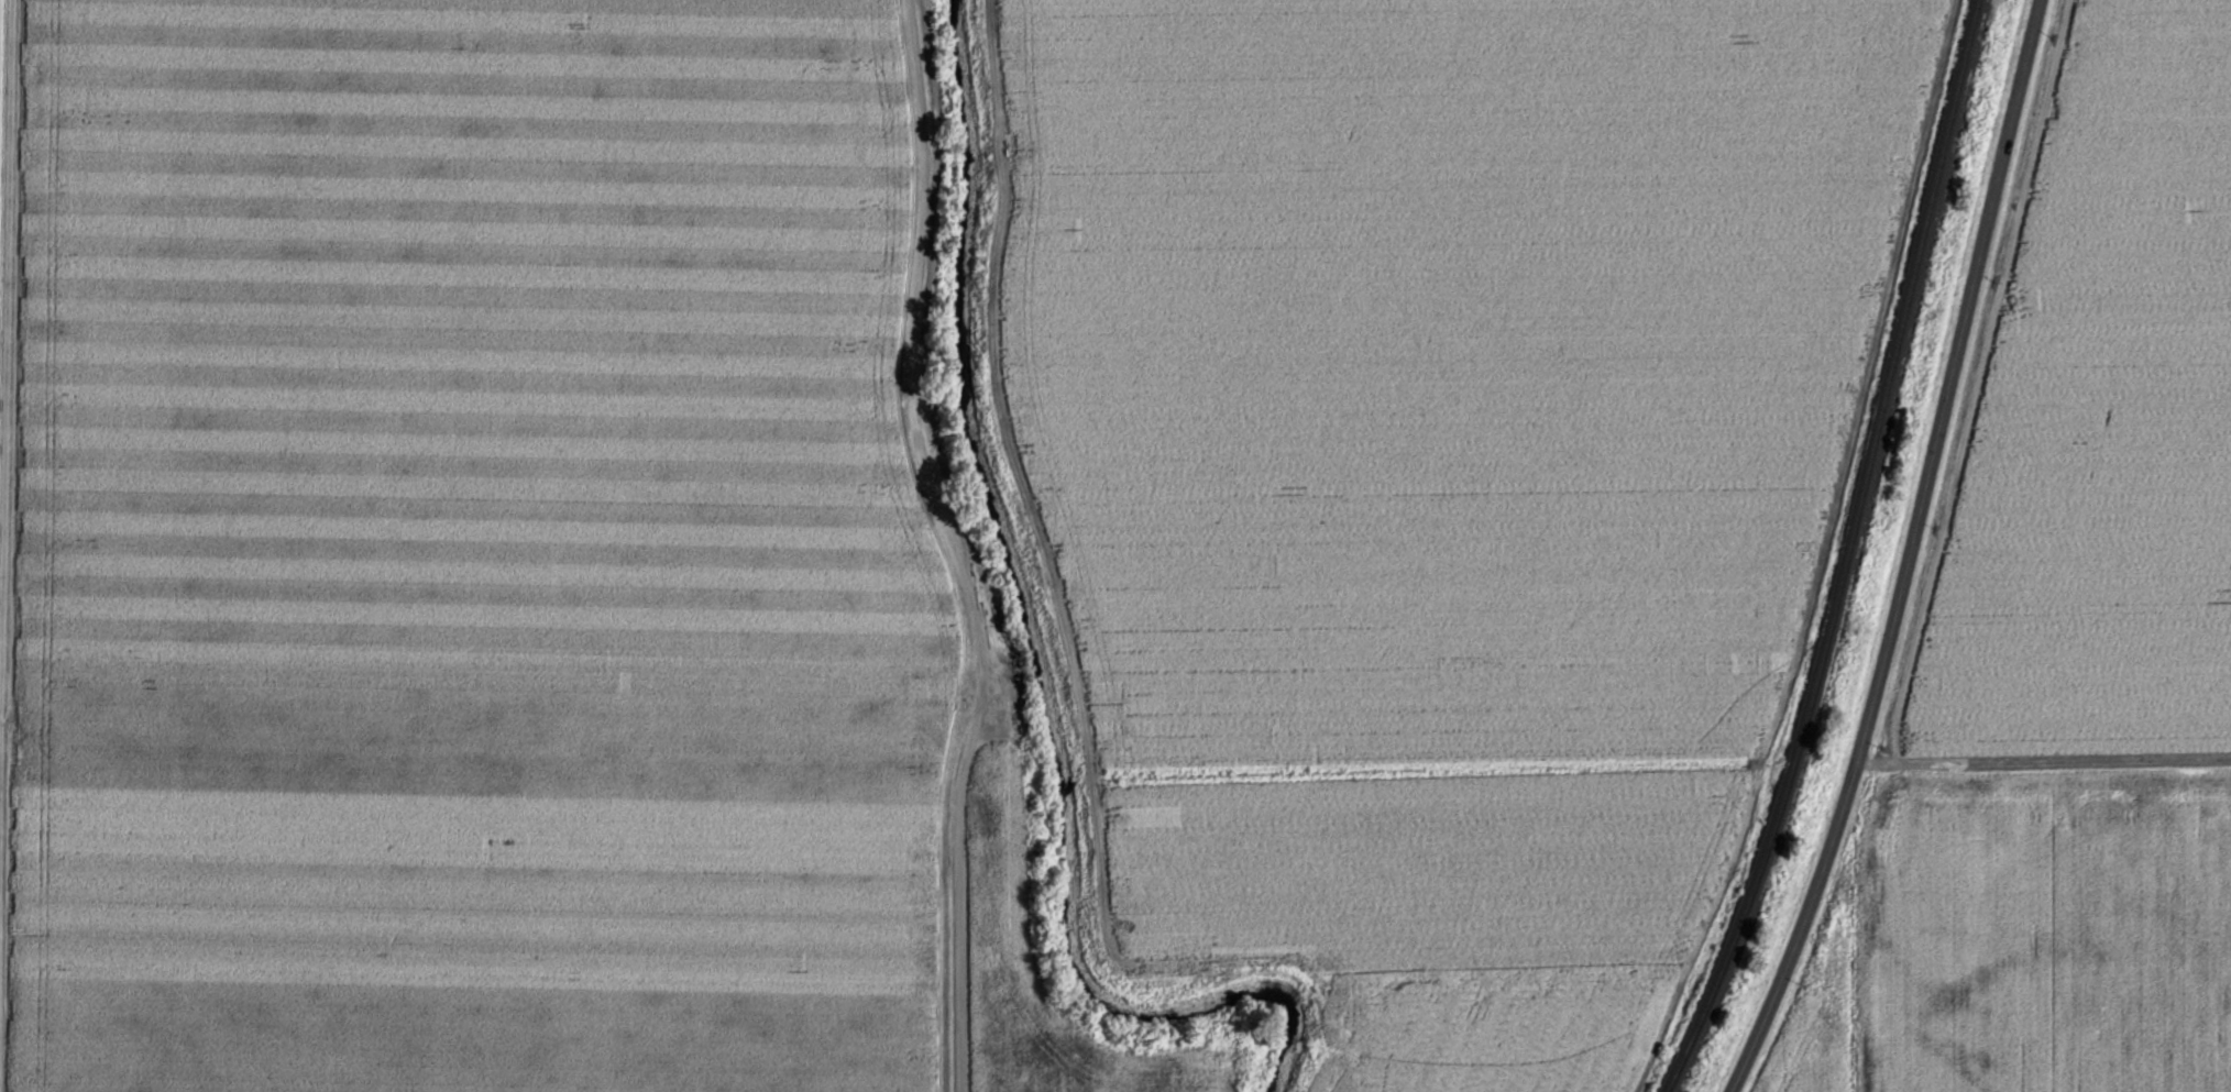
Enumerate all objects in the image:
road: (963, 544)
railway: (1847, 553)
road: (1908, 553)

